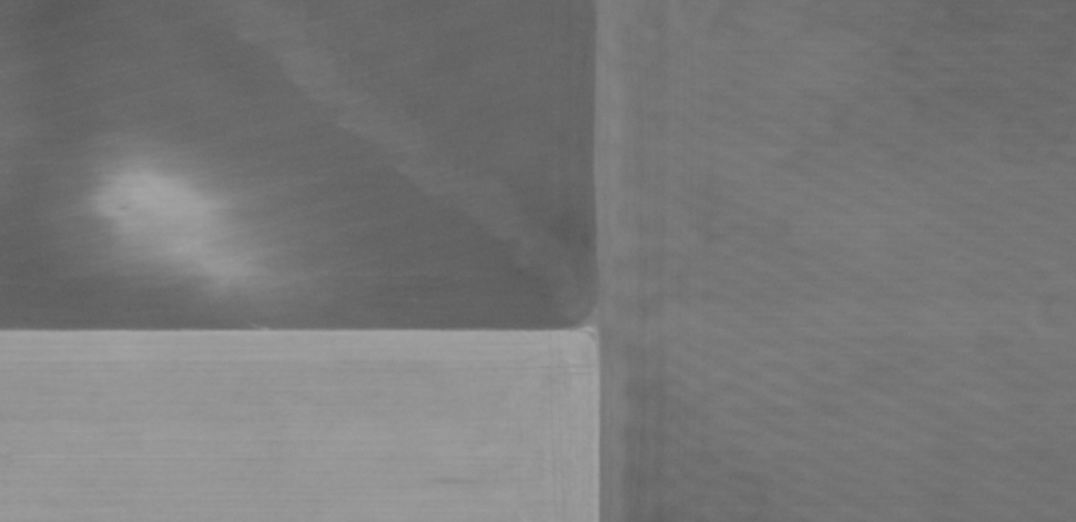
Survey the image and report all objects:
crop: (538, 260)

